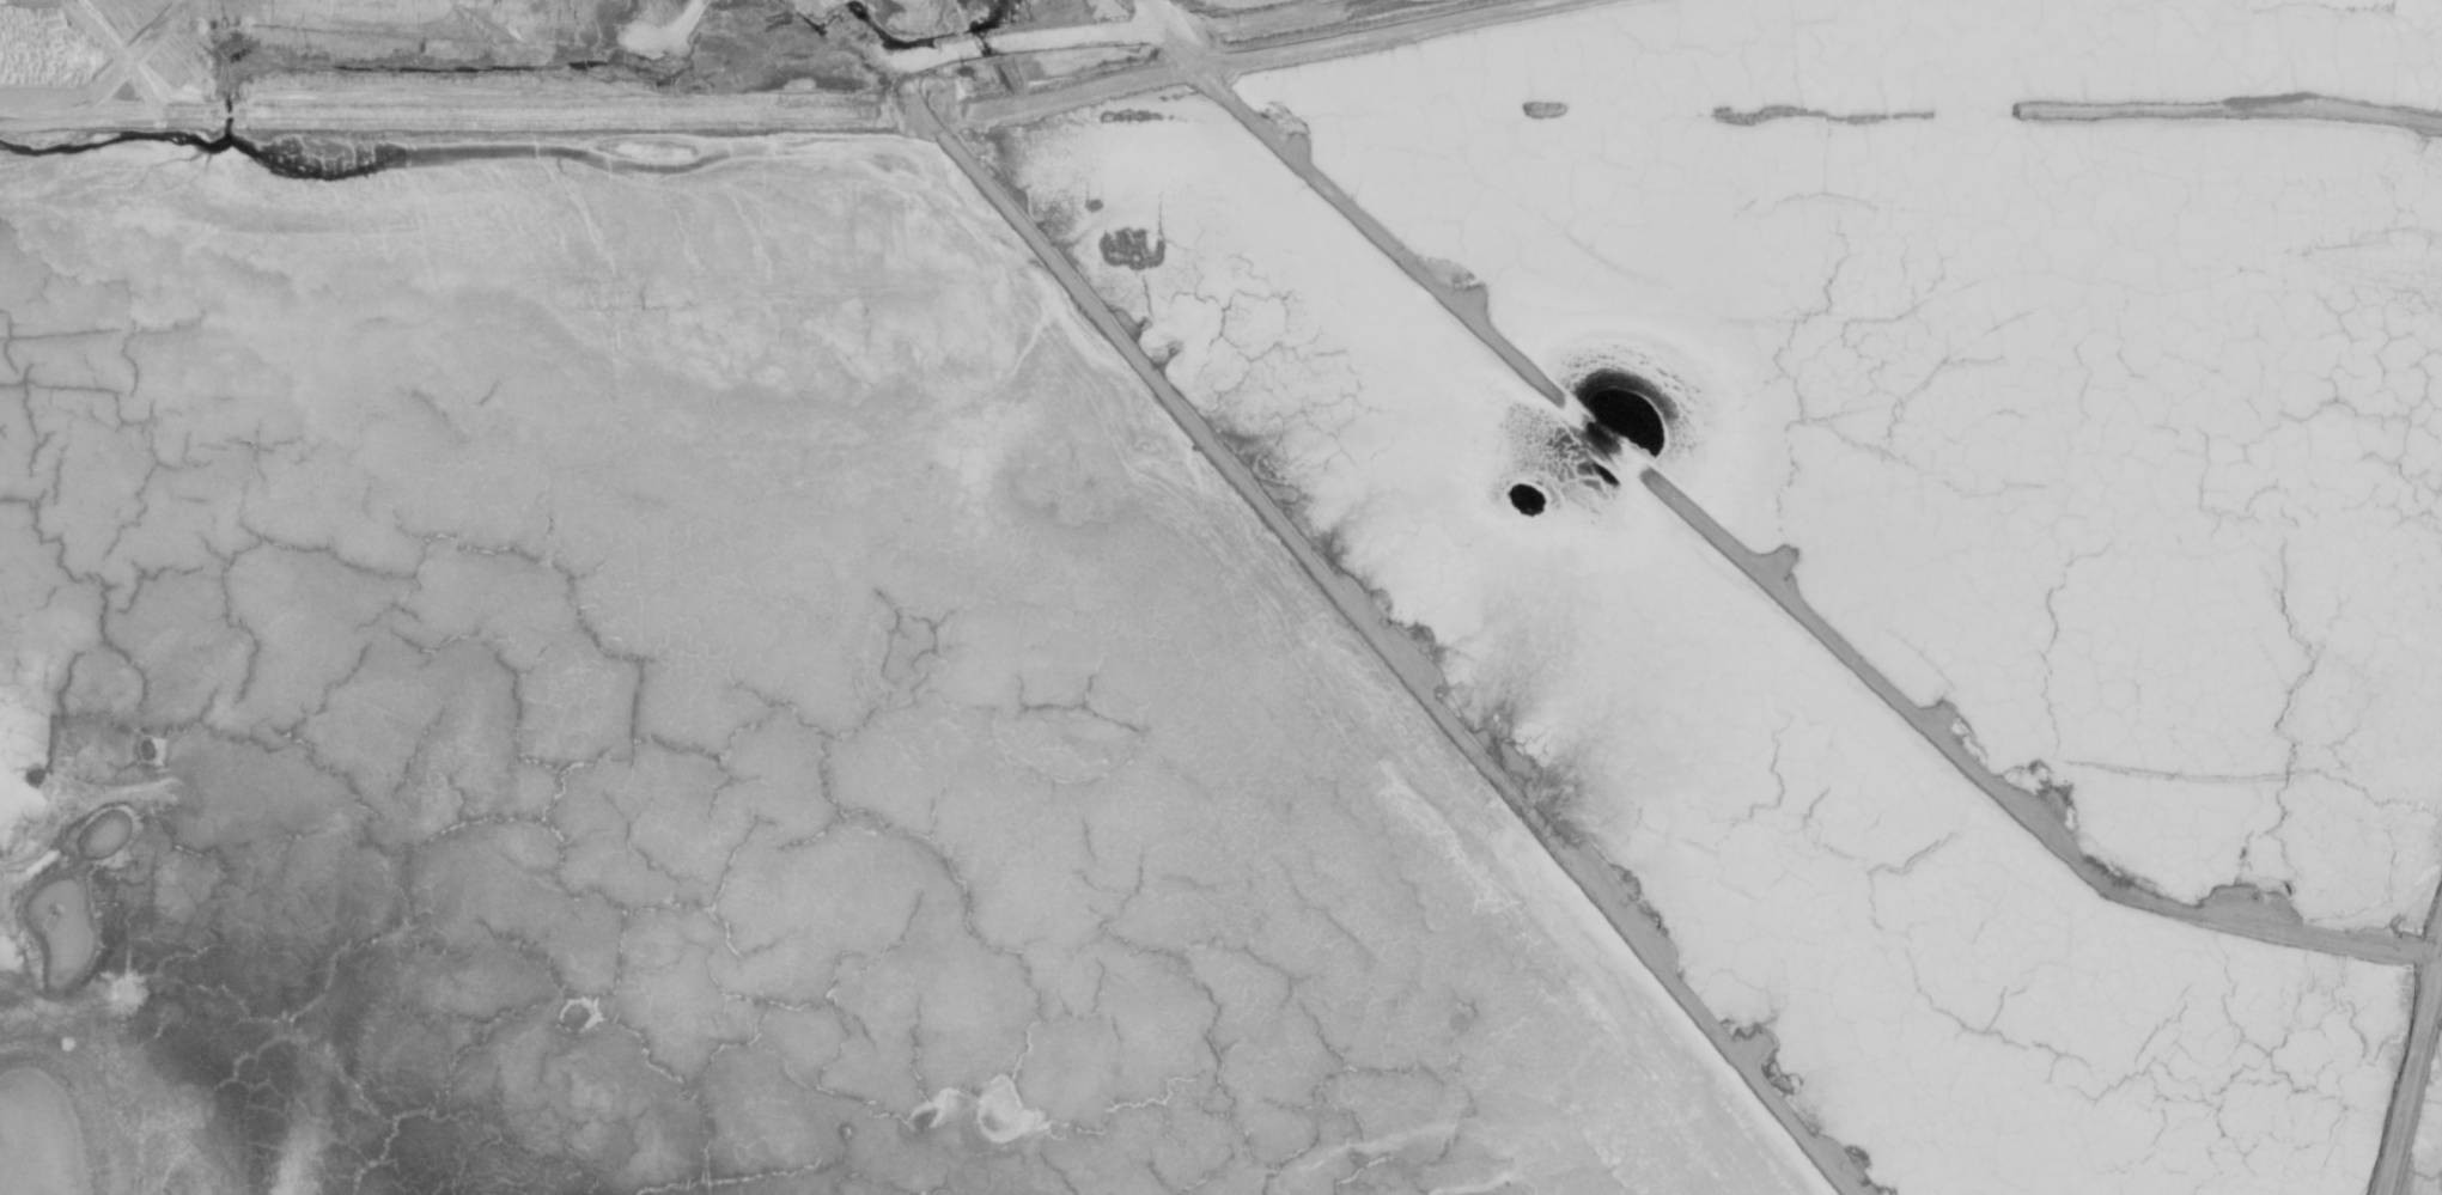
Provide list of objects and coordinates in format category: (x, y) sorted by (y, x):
road: (1257, 55)
road: (434, 115)
quarry: (1220, 597)

